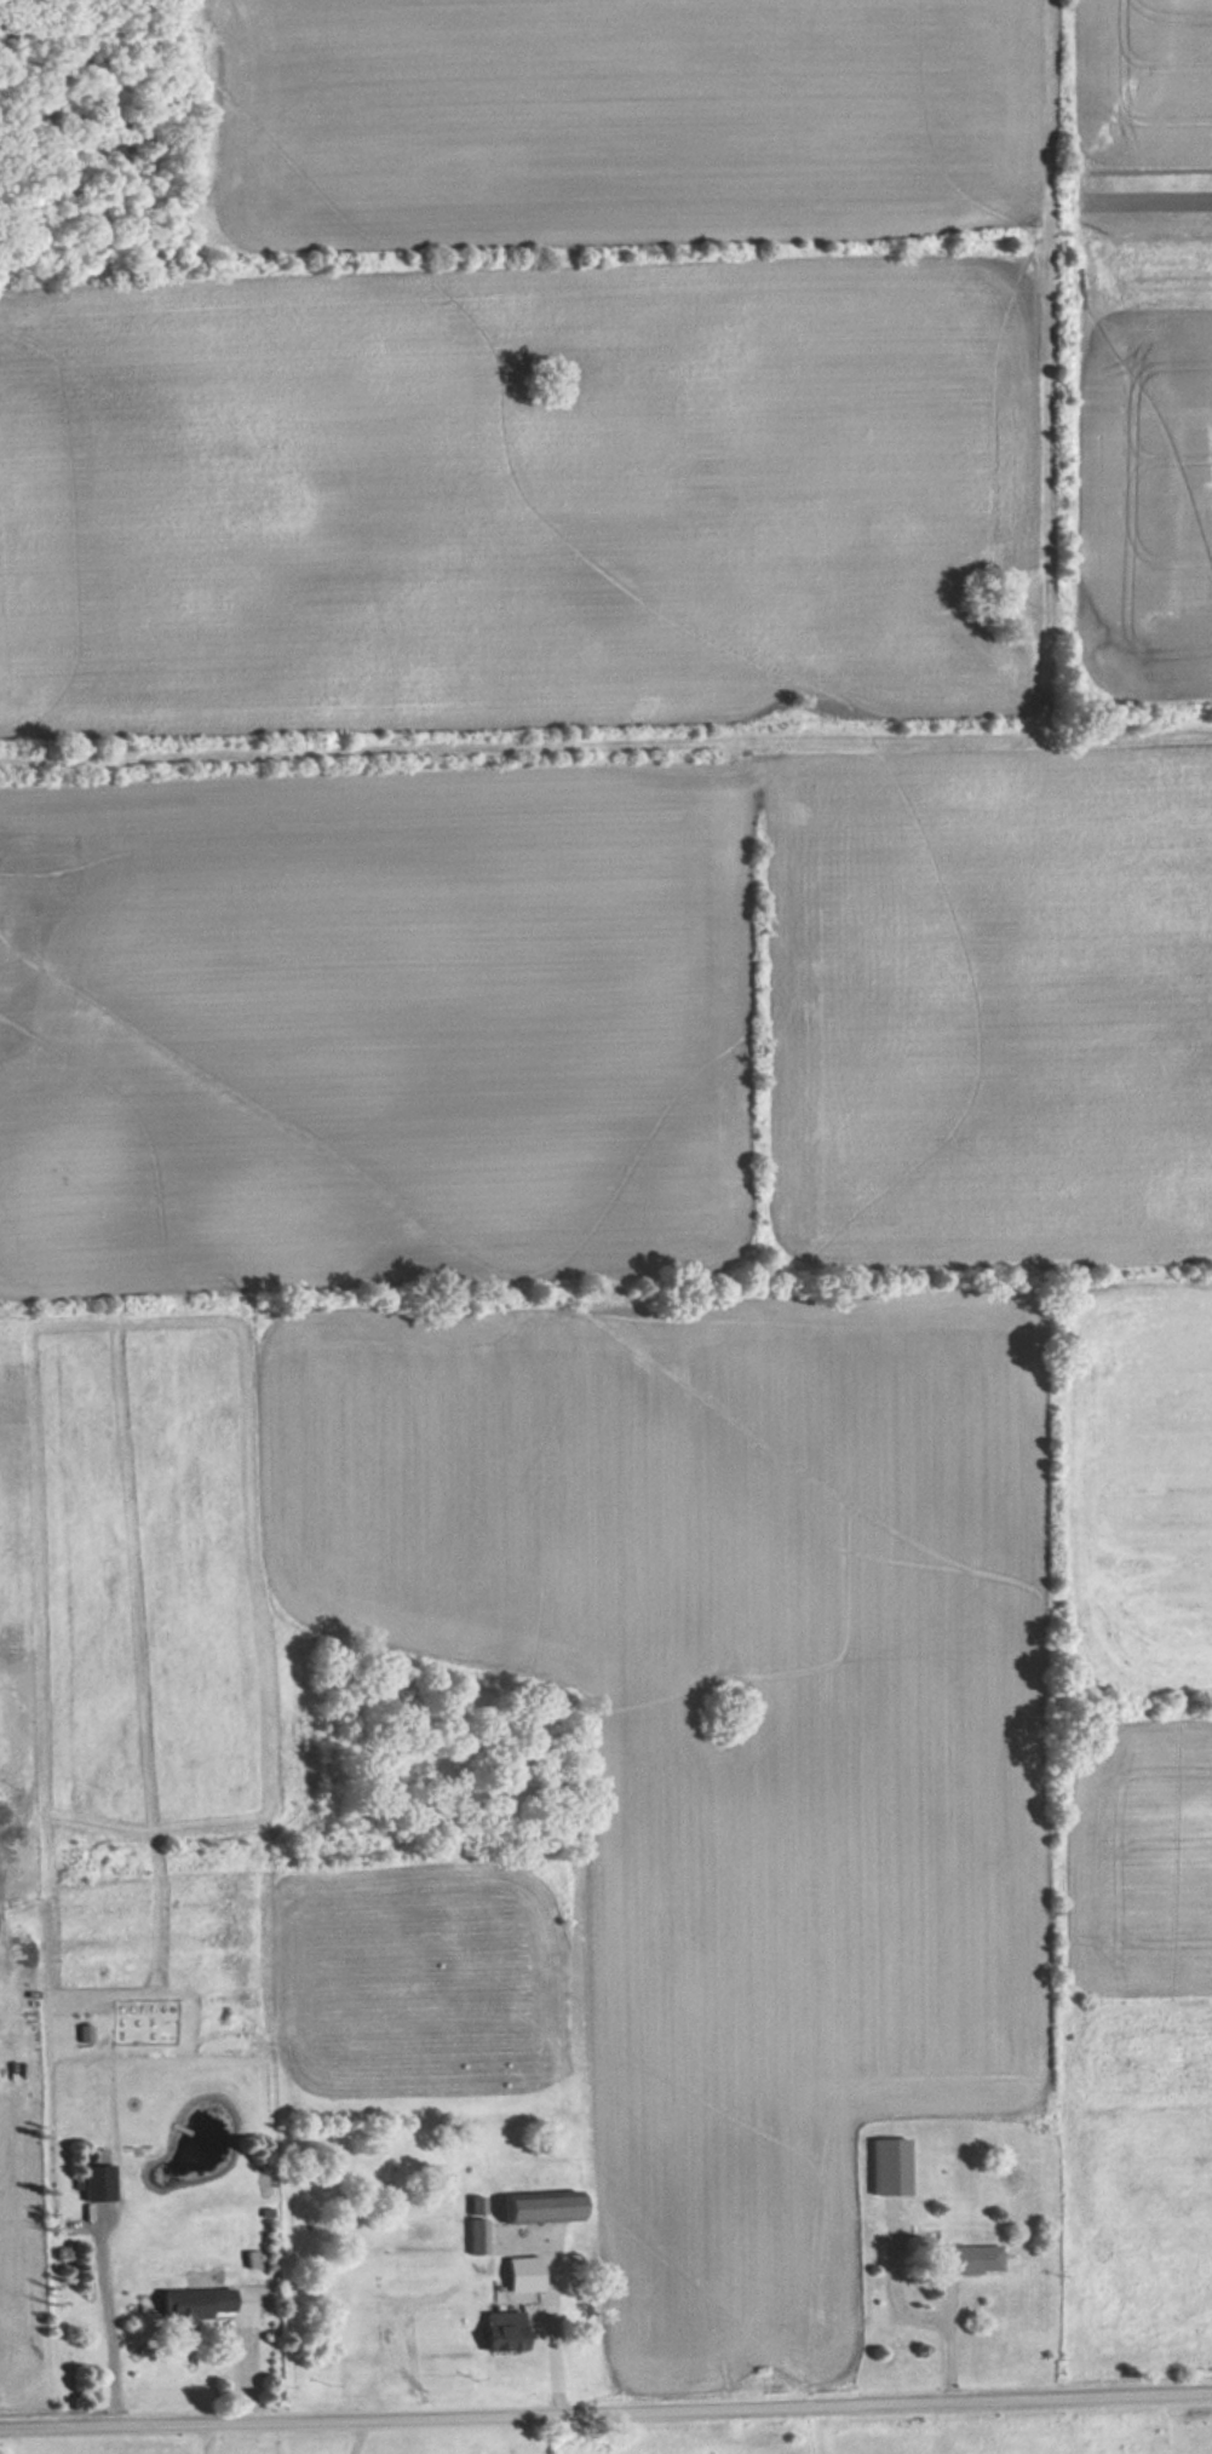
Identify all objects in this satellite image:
building: (885, 2167)
building: (92, 2183)
building: (534, 2208)
building: (473, 2237)
building: (963, 2260)
building: (507, 2282)
building: (186, 2305)
road: (923, 2320)
road: (110, 2321)
road: (553, 2326)
building: (496, 2331)
road: (605, 2407)
road: (209, 2437)

